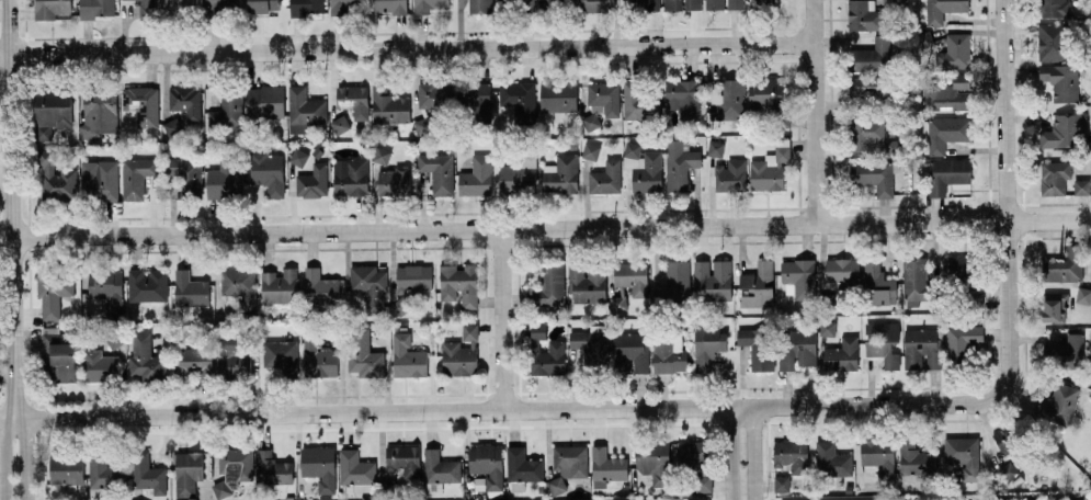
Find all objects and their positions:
building: (514, 2)
building: (547, 3)
building: (761, 3)
building: (221, 4)
building: (428, 4)
building: (596, 4)
building: (648, 4)
building: (681, 4)
building: (724, 4)
building: (263, 5)
building: (345, 5)
building: (389, 5)
building: (480, 5)
building: (179, 7)
building: (306, 7)
building: (50, 8)
building: (95, 8)
building: (147, 8)
building: (1055, 8)
building: (942, 9)
building: (863, 15)
building: (923, 38)
building: (1053, 41)
road: (406, 49)
building: (954, 50)
building: (874, 55)
building: (1061, 80)
building: (873, 86)
building: (765, 93)
building: (947, 93)
building: (434, 95)
building: (557, 95)
building: (604, 96)
building: (683, 98)
building: (519, 99)
building: (637, 99)
building: (265, 100)
building: (353, 100)
building: (185, 101)
building: (478, 101)
building: (730, 101)
building: (141, 103)
building: (388, 105)
building: (304, 109)
building: (227, 110)
building: (50, 112)
building: (99, 112)
road: (814, 112)
building: (591, 121)
building: (340, 123)
building: (423, 125)
building: (171, 126)
building: (1064, 130)
building: (945, 132)
building: (865, 133)
building: (632, 148)
building: (715, 148)
building: (590, 150)
building: (382, 155)
building: (298, 156)
building: (679, 163)
building: (770, 167)
building: (519, 170)
building: (268, 171)
building: (437, 171)
building: (648, 172)
building: (560, 173)
building: (946, 173)
building: (730, 174)
building: (875, 174)
building: (136, 175)
building: (350, 175)
building: (54, 177)
building: (184, 177)
building: (476, 177)
building: (605, 177)
building: (1055, 177)
building: (100, 179)
building: (225, 180)
building: (394, 180)
building: (312, 181)
road: (1009, 186)
building: (1081, 186)
road: (13, 208)
road: (545, 228)
building: (962, 265)
building: (1065, 265)
building: (842, 272)
building: (798, 276)
building: (632, 277)
building: (678, 277)
building: (713, 279)
building: (914, 280)
building: (550, 283)
building: (587, 283)
building: (459, 284)
building: (878, 284)
building: (147, 285)
building: (239, 285)
building: (758, 285)
building: (279, 286)
building: (320, 286)
building: (370, 286)
building: (106, 289)
building: (190, 291)
building: (54, 293)
building: (1083, 295)
building: (618, 303)
building: (1055, 307)
road: (501, 319)
building: (828, 327)
building: (538, 330)
building: (962, 340)
building: (883, 342)
building: (707, 345)
building: (591, 346)
building: (760, 346)
building: (797, 348)
building: (1067, 349)
building: (629, 352)
building: (462, 353)
building: (669, 353)
building: (364, 354)
building: (842, 354)
building: (57, 355)
building: (232, 356)
building: (282, 356)
building: (318, 356)
building: (407, 357)
building: (145, 359)
building: (549, 360)
building: (193, 363)
building: (100, 366)
building: (1058, 404)
road: (511, 409)
building: (1005, 439)
road: (732, 453)
road: (752, 453)
building: (792, 455)
building: (964, 455)
road: (3, 456)
building: (879, 457)
road: (23, 458)
building: (916, 458)
building: (404, 459)
building: (832, 459)
building: (655, 462)
building: (696, 463)
building: (523, 465)
building: (567, 465)
building: (486, 466)
building: (320, 467)
building: (273, 468)
building: (66, 469)
building: (439, 470)
building: (1008, 470)
building: (104, 471)
building: (356, 471)
building: (147, 473)
building: (187, 473)
building: (782, 484)
building: (516, 486)
building: (872, 499)
building: (1050, 499)

